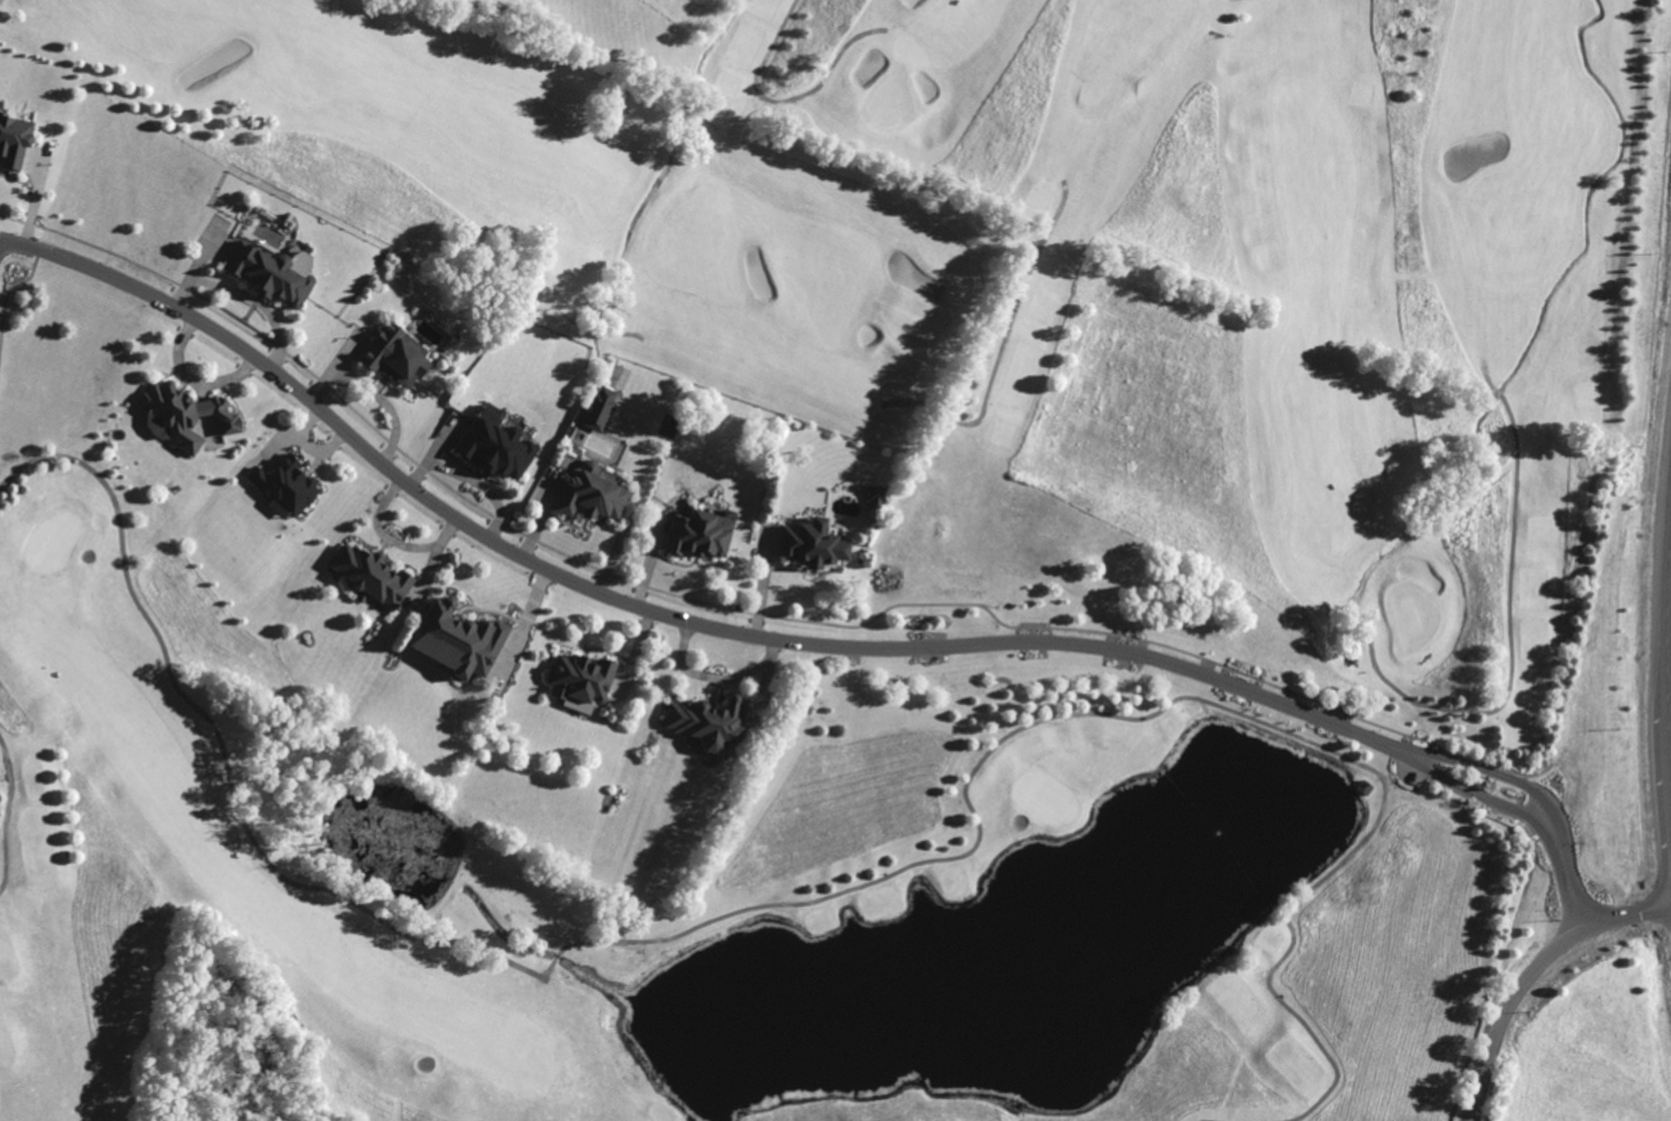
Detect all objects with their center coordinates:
road: (785, 100)
building: (12, 141)
park: (1048, 263)
building: (271, 273)
road: (242, 295)
road: (1000, 346)
building: (394, 355)
road: (1488, 378)
building: (177, 413)
building: (496, 445)
building: (290, 486)
building: (875, 494)
building: (591, 495)
building: (697, 536)
building: (810, 543)
building: (370, 574)
road: (646, 609)
building: (456, 636)
road: (1511, 647)
road: (1668, 653)
building: (580, 678)
building: (706, 722)
road: (1485, 770)
road: (1470, 791)
road: (1567, 886)
park: (681, 906)
road: (1528, 973)

